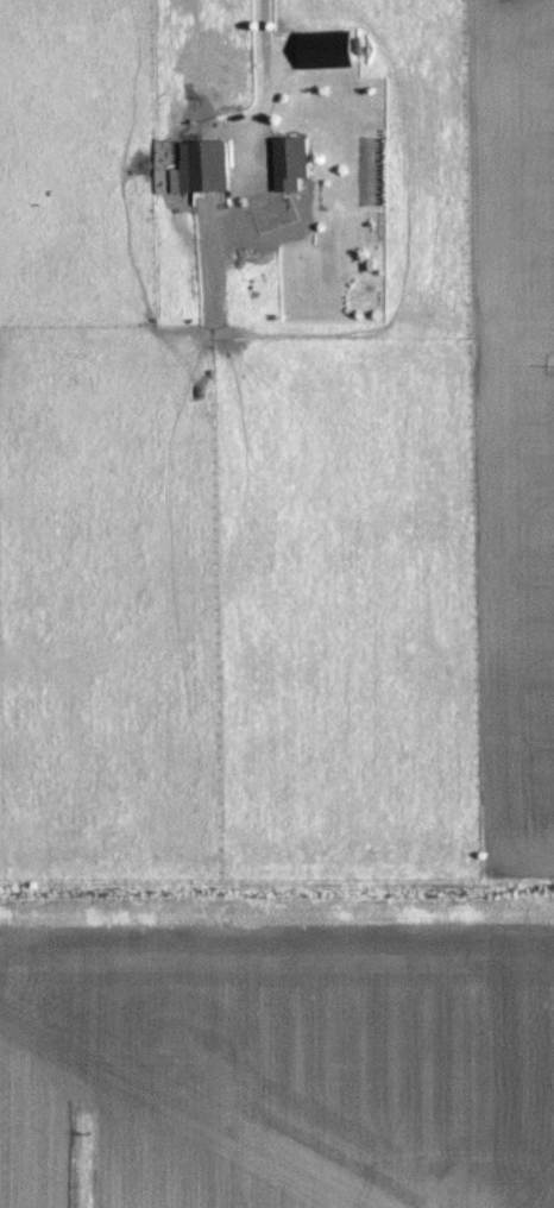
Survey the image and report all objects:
road: (260, 38)
building: (290, 161)
building: (208, 164)
power tower: (184, 1077)

